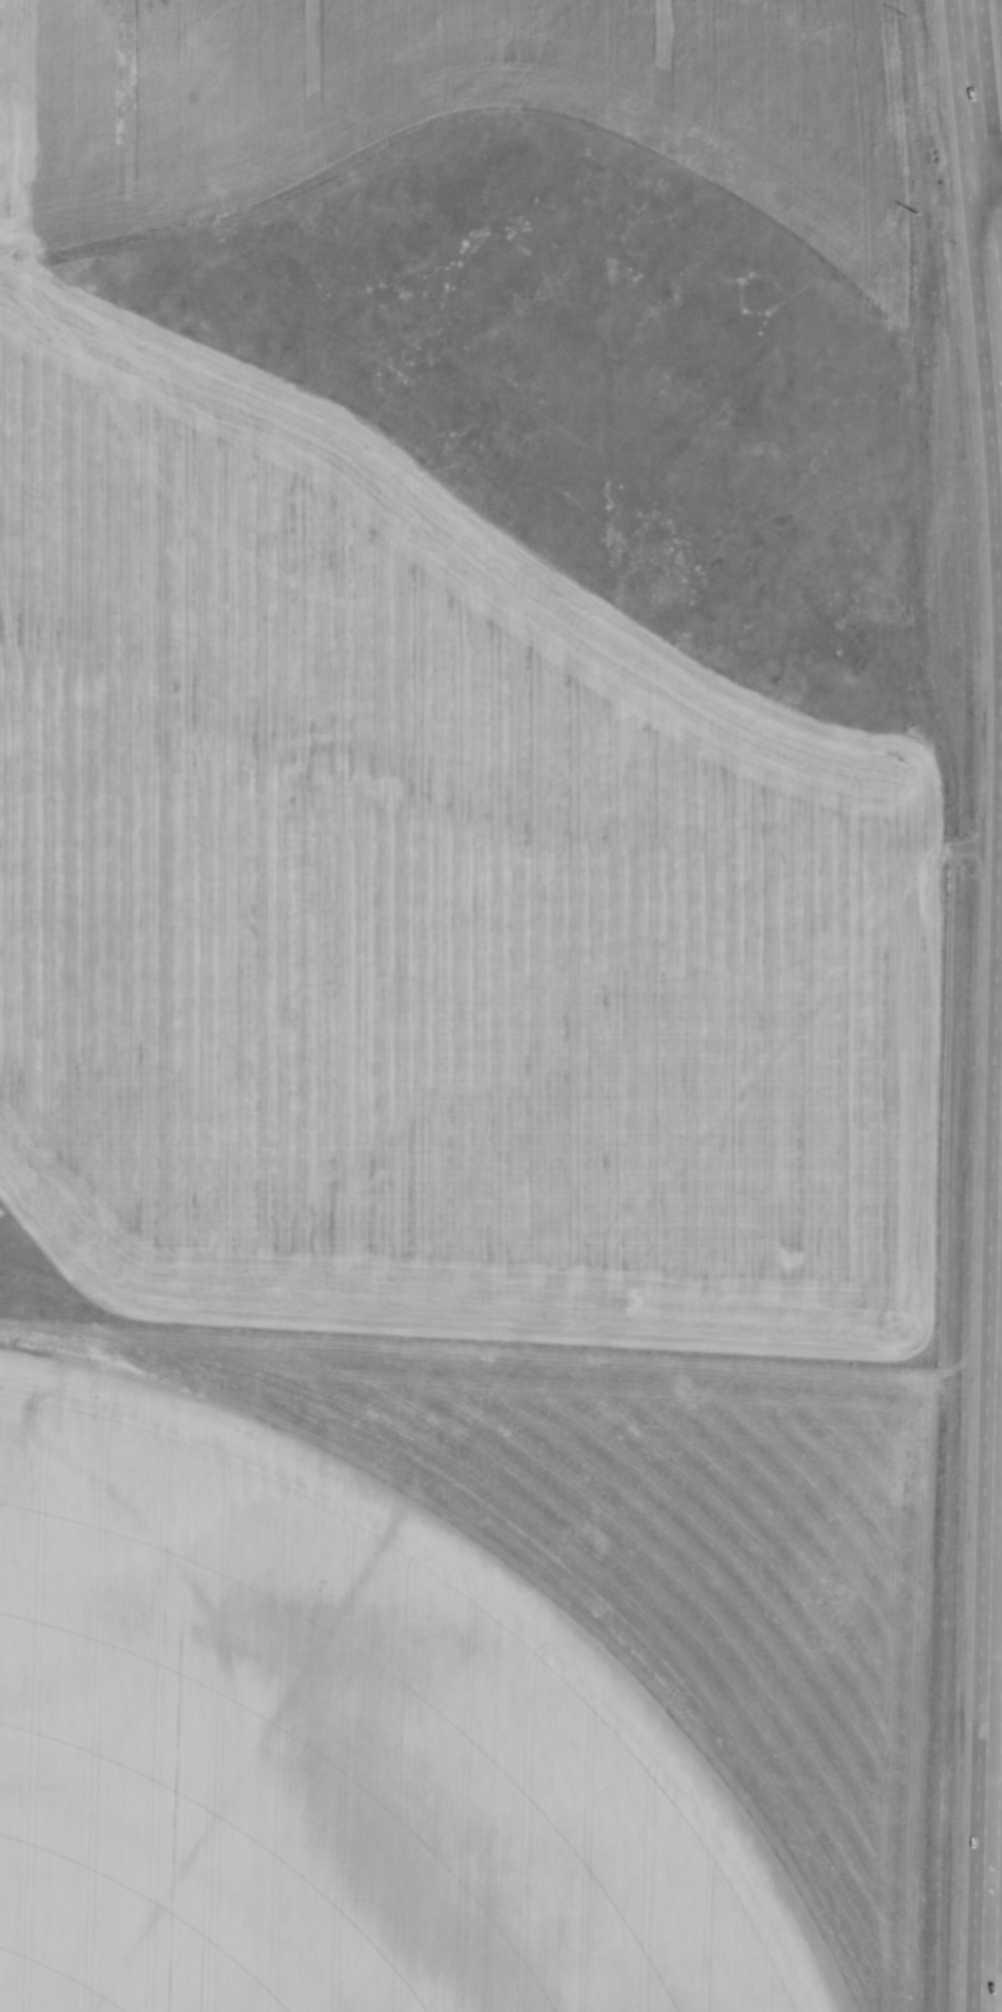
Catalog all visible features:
road: (971, 91)
road: (990, 162)
road: (991, 182)
road: (990, 316)
road: (994, 1674)

